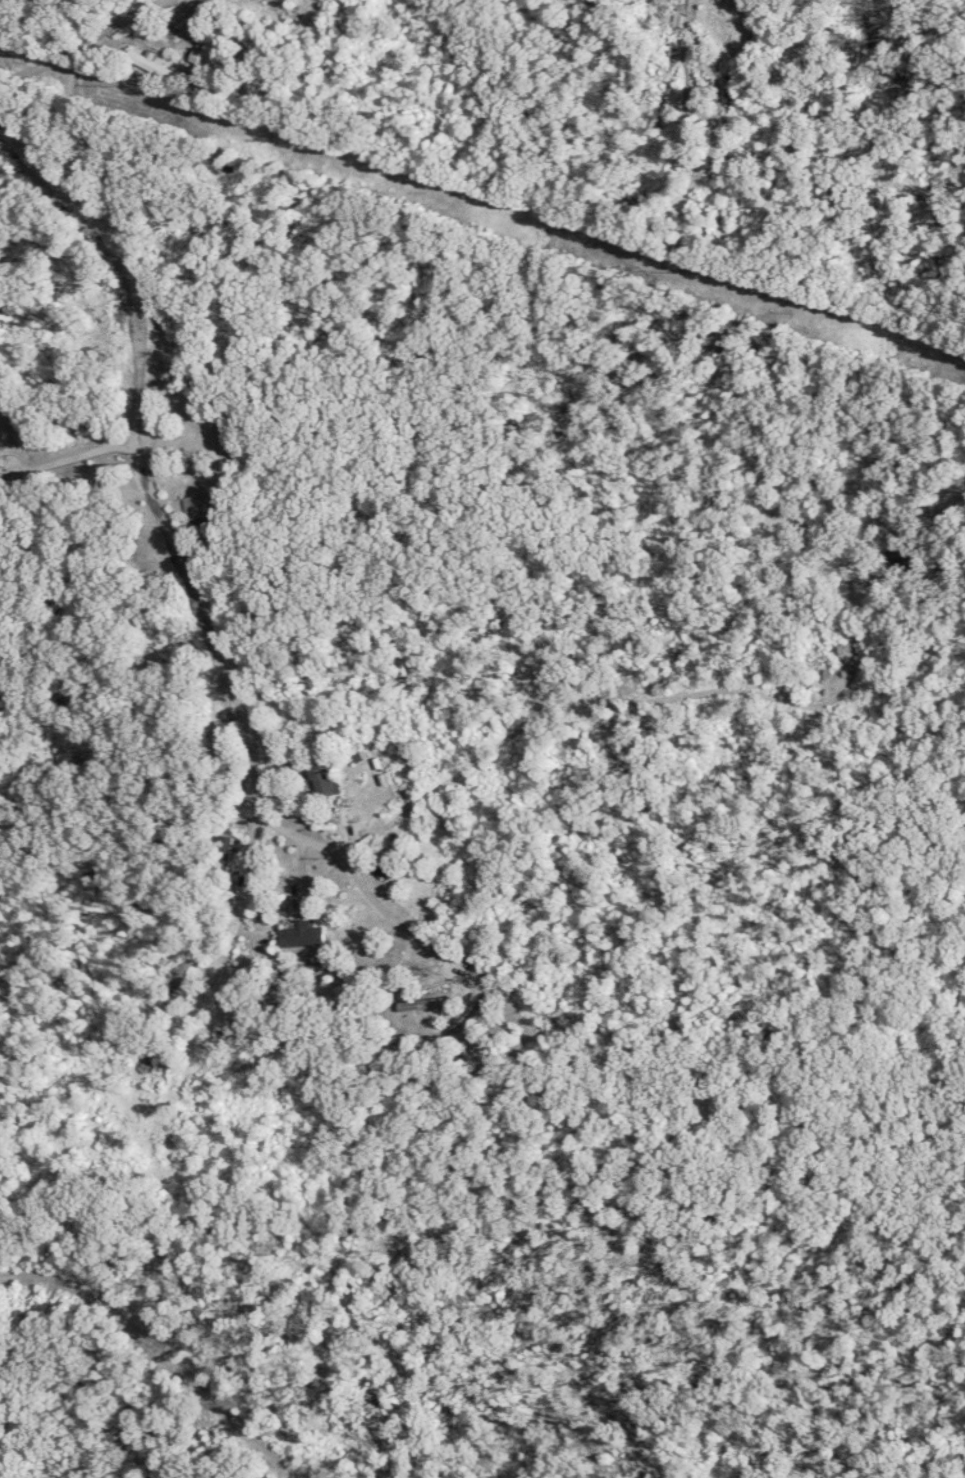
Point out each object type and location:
road: (78, 43)
building: (212, 61)
building: (155, 66)
road: (99, 160)
building: (79, 423)
road: (69, 465)
building: (204, 506)
building: (907, 559)
road: (204, 616)
road: (648, 697)
building: (328, 778)
road: (303, 838)
building: (307, 934)
building: (190, 963)
building: (251, 970)
building: (428, 1004)
road: (964, 1004)
road: (624, 1080)
road: (77, 1185)
road: (165, 1345)

